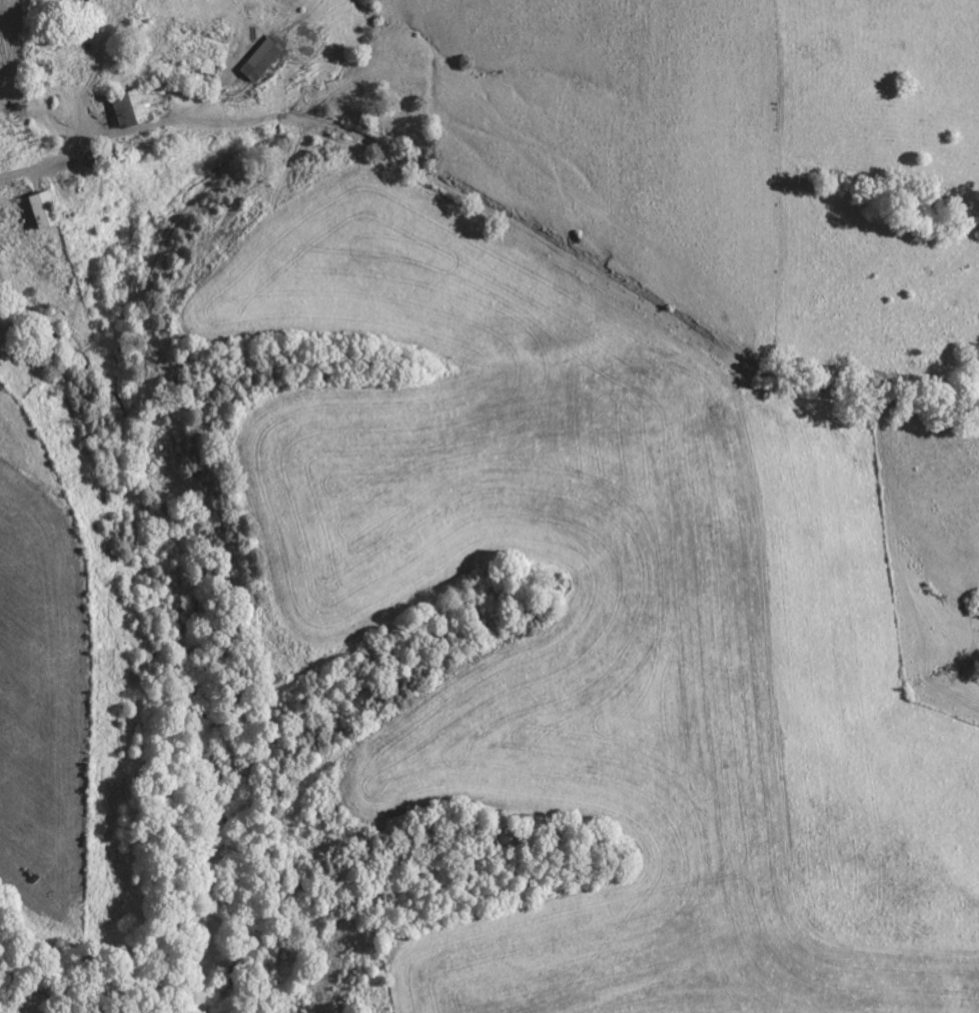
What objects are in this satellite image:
building: (257, 63)
building: (129, 110)
road: (389, 151)
building: (40, 212)

